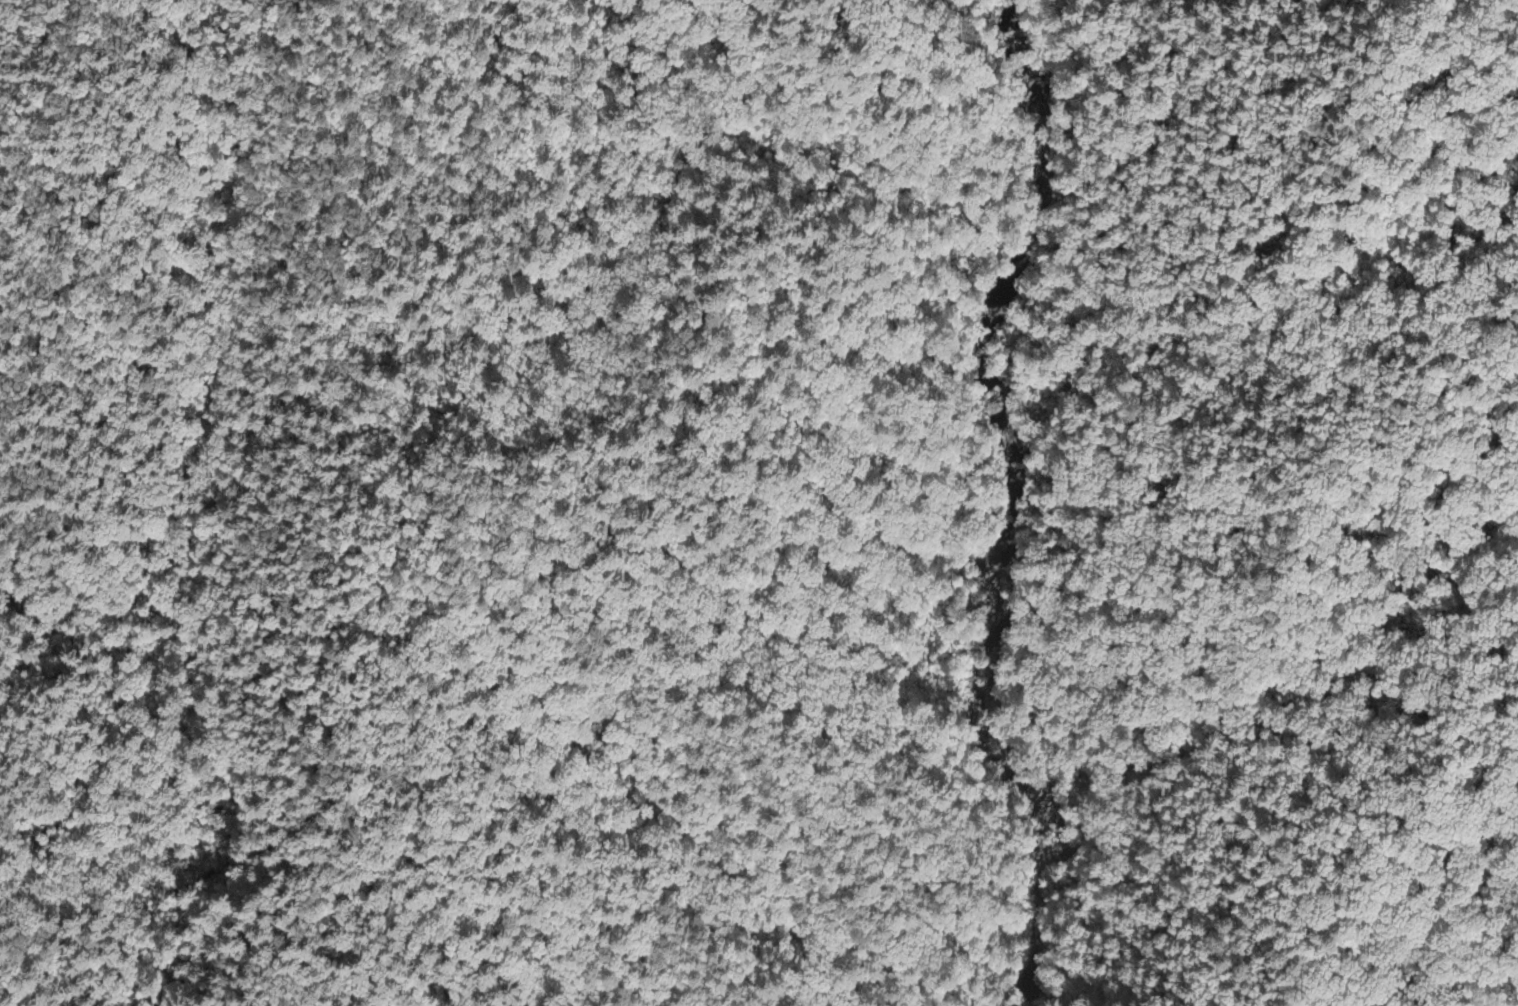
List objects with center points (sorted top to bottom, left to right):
river: (1003, 499)
road: (175, 596)
road: (1337, 610)
road: (981, 676)
road: (827, 833)

